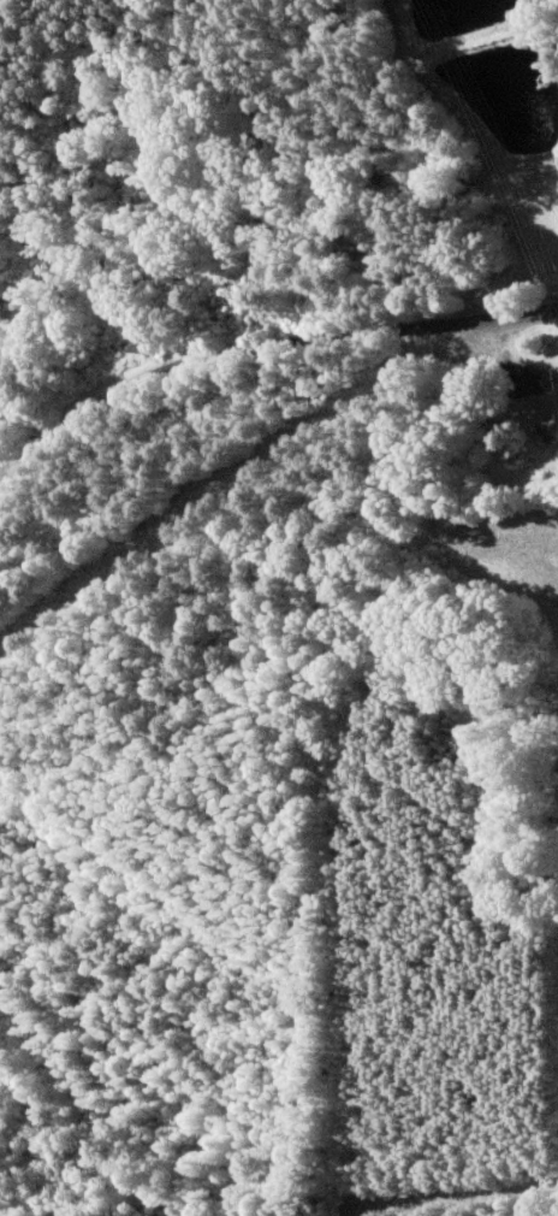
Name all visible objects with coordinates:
road: (268, 313)
building: (530, 384)

